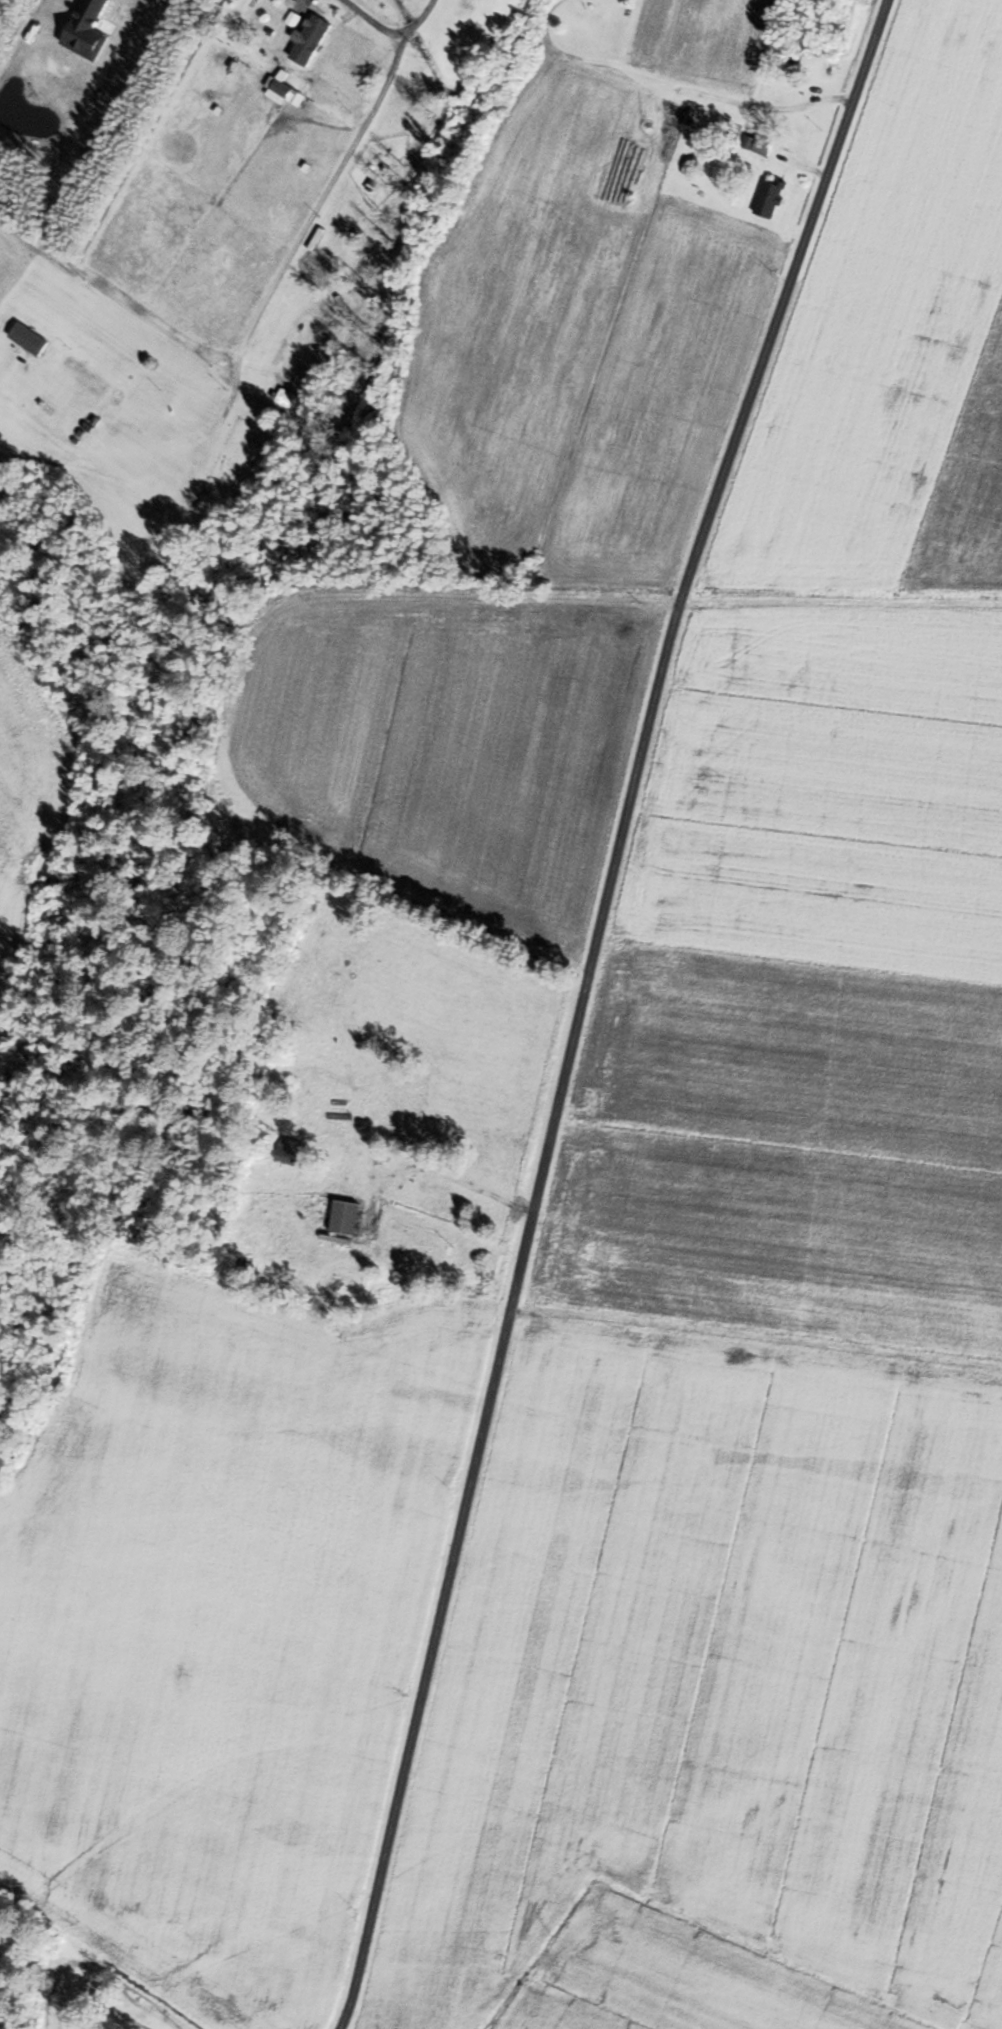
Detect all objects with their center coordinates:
road: (374, 21)
building: (308, 39)
building: (727, 144)
building: (768, 198)
road: (310, 223)
building: (37, 341)
building: (83, 373)
road: (583, 1004)
building: (288, 1150)
building: (432, 1191)
building: (344, 1216)

